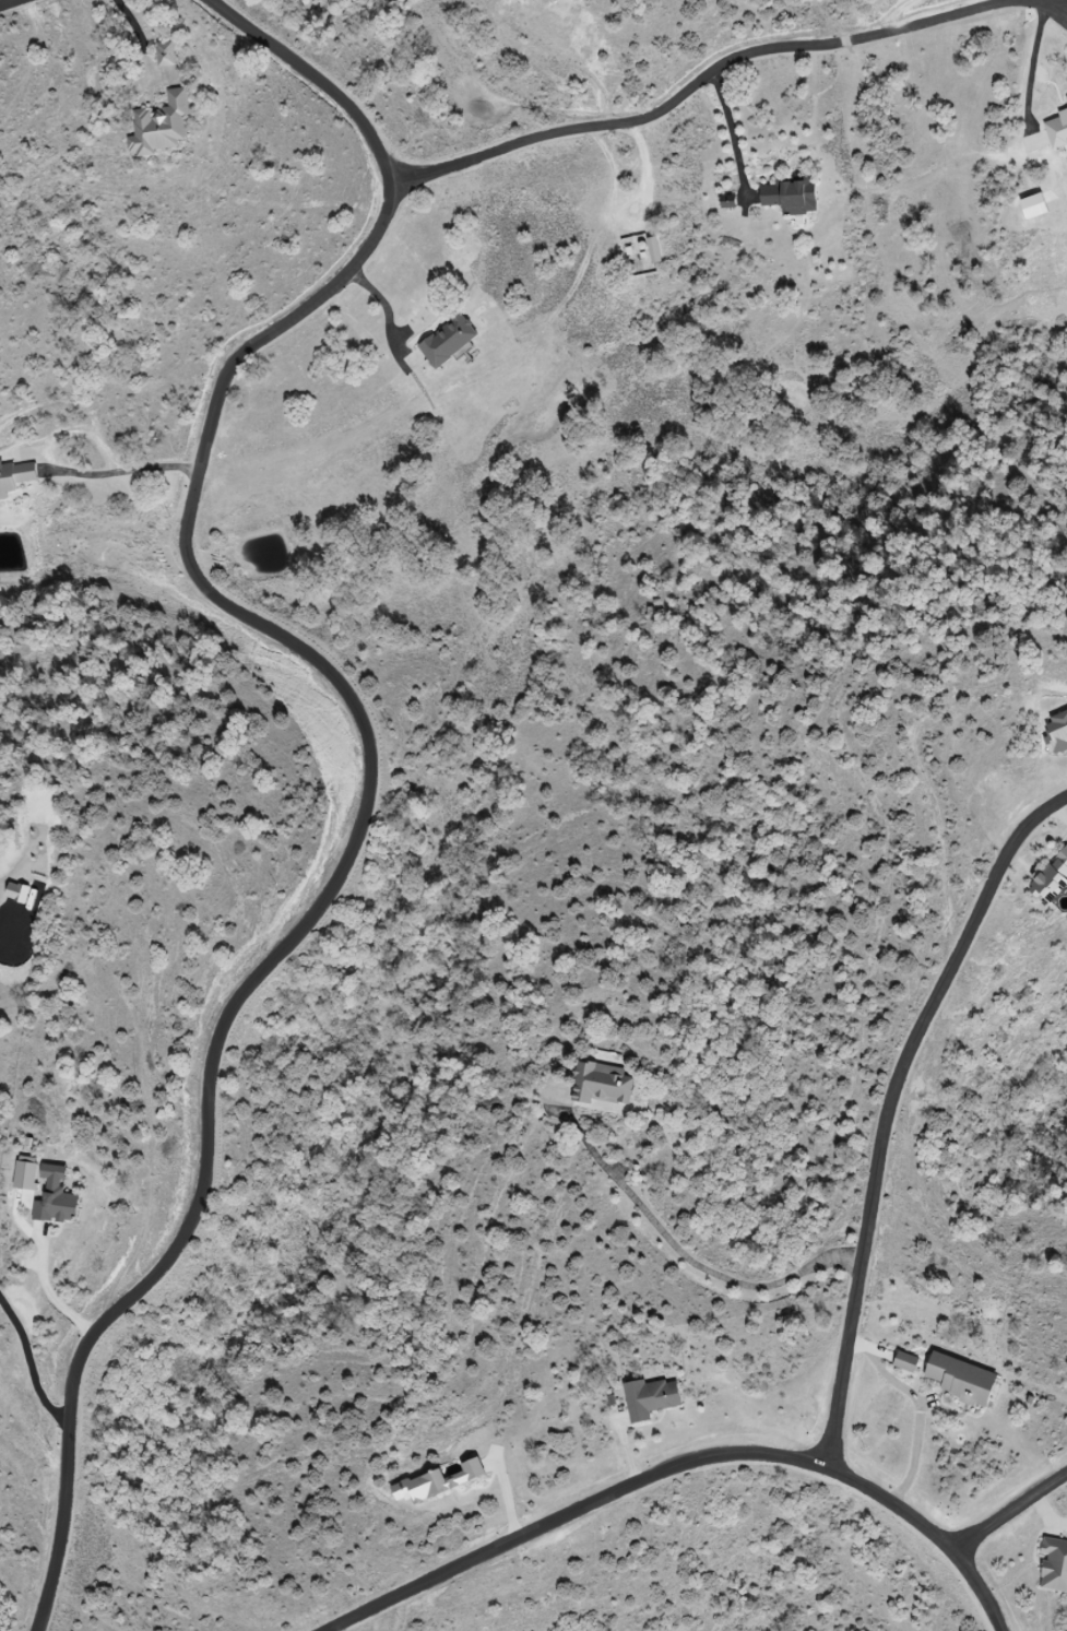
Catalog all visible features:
road: (11, 4)
road: (142, 32)
road: (719, 64)
road: (730, 120)
building: (162, 127)
building: (1054, 132)
building: (792, 197)
building: (728, 203)
road: (384, 307)
building: (449, 341)
road: (133, 470)
building: (15, 477)
road: (371, 743)
building: (1052, 877)
building: (603, 1084)
road: (889, 1107)
building: (56, 1197)
road: (686, 1256)
road: (52, 1300)
building: (906, 1362)
road: (29, 1364)
building: (962, 1380)
building: (651, 1398)
road: (921, 1405)
road: (683, 1461)
road: (1009, 1513)
building: (1054, 1567)

